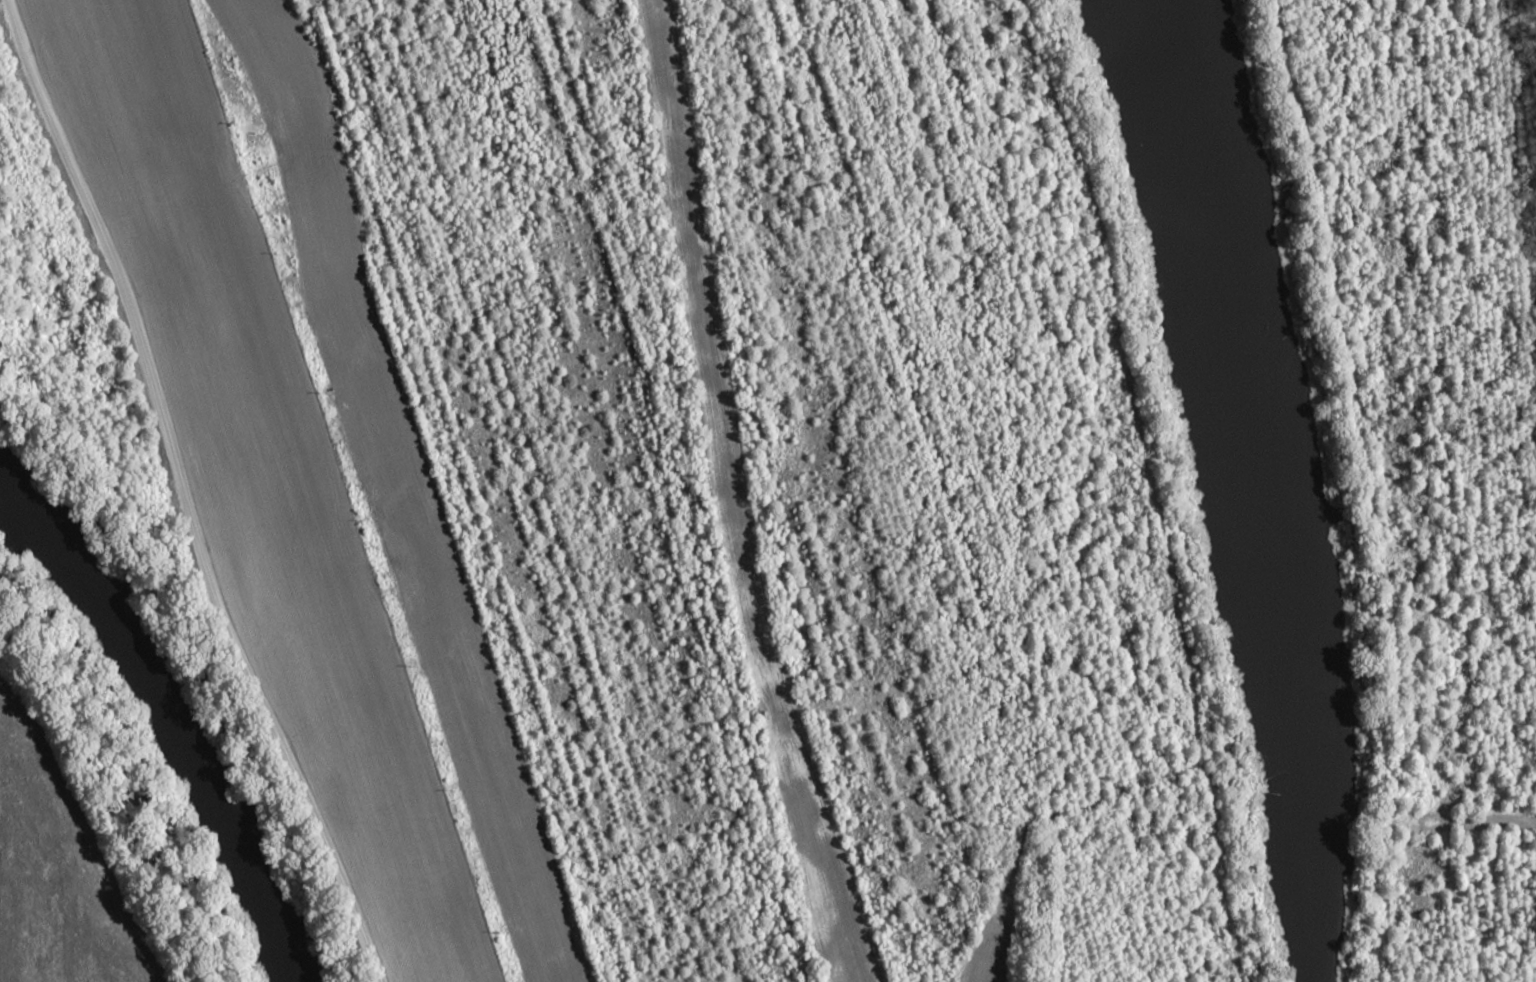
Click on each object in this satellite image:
road: (183, 493)
river: (165, 714)

